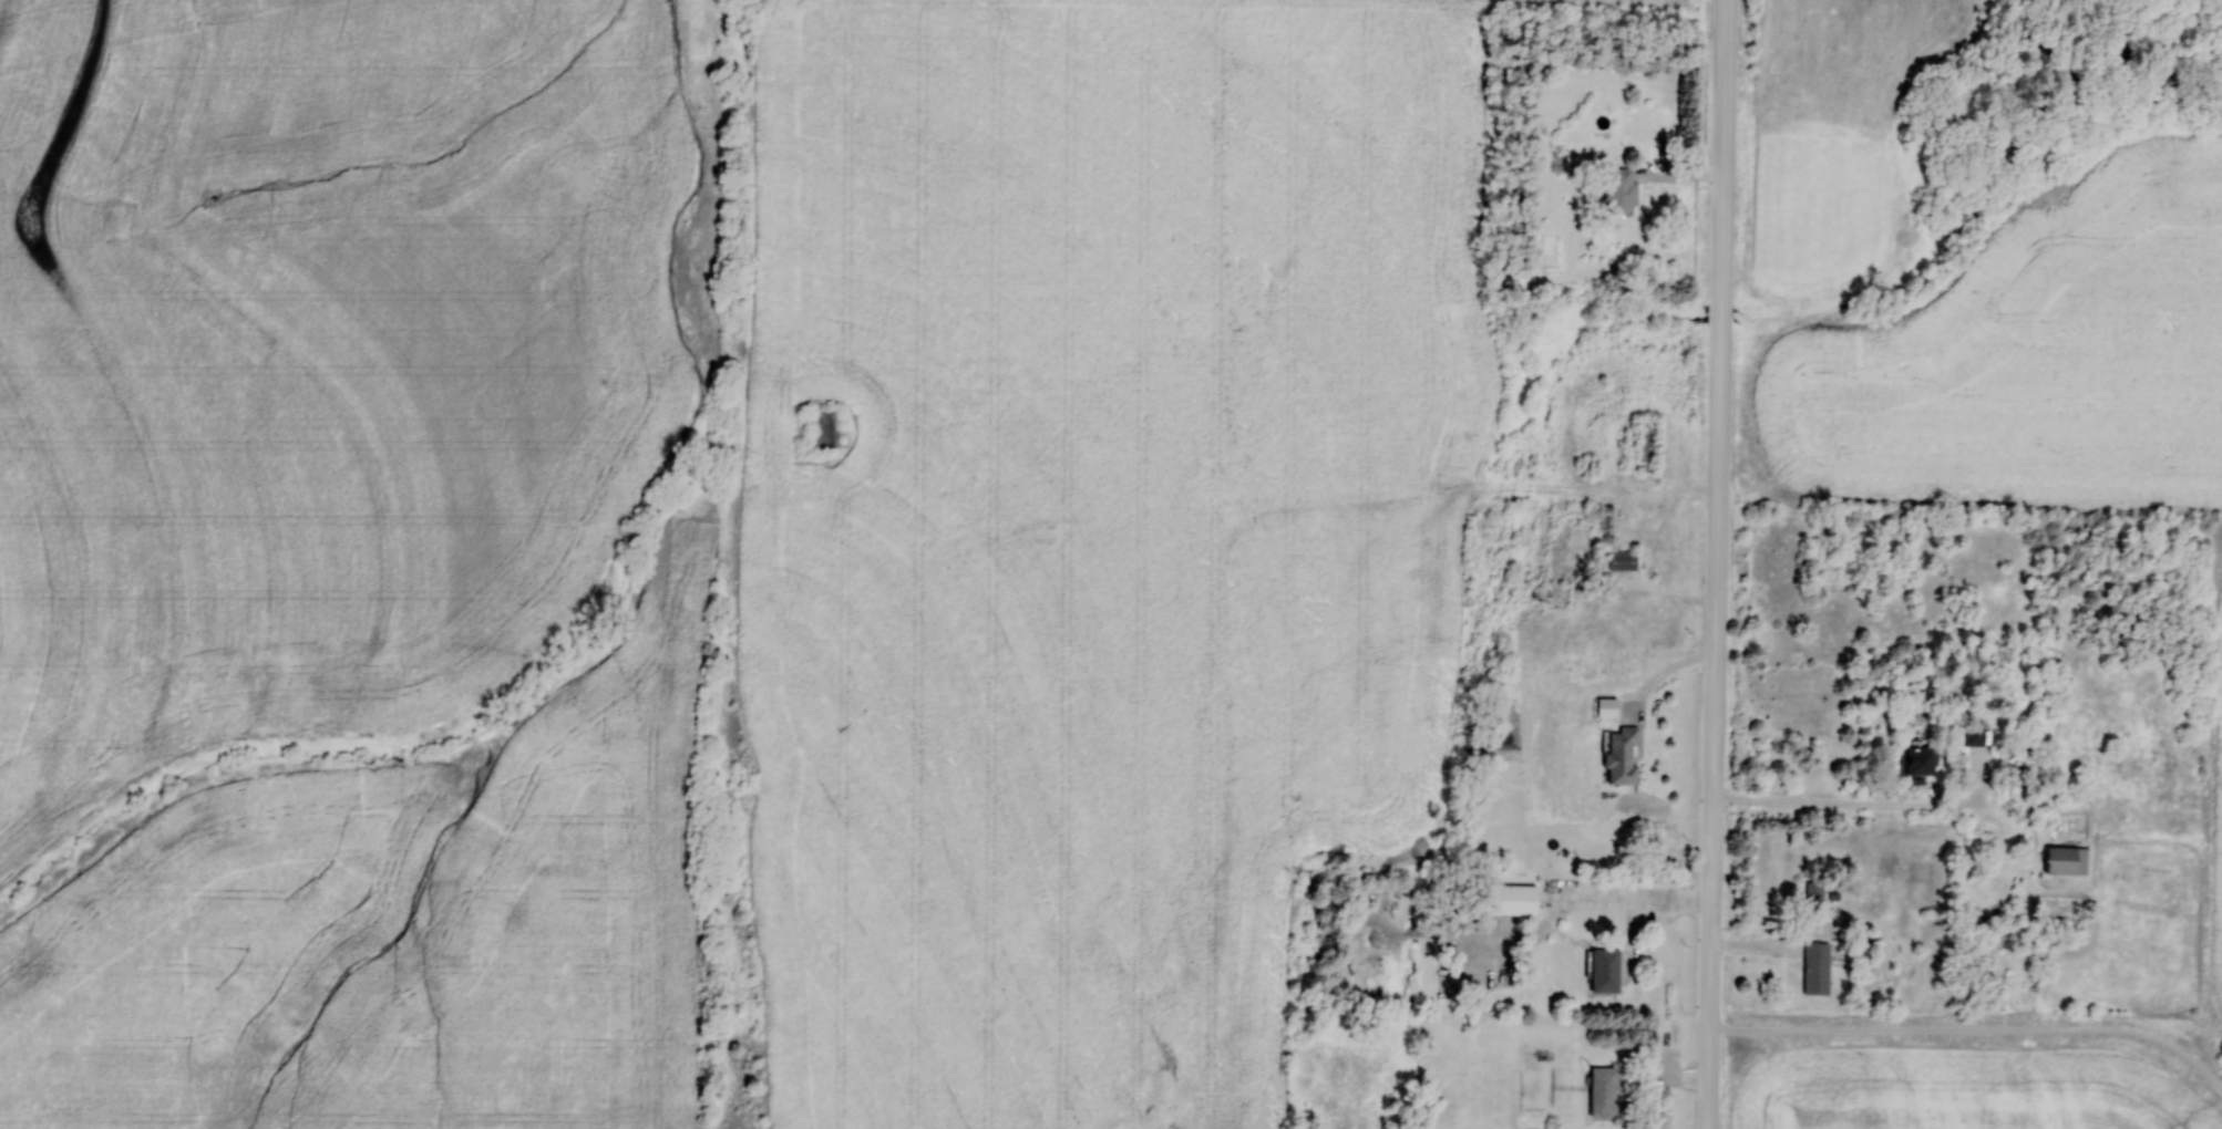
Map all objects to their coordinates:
building: (823, 428)
road: (1718, 563)
building: (1915, 759)
building: (2064, 859)
building: (1813, 891)
building: (1509, 899)
building: (1814, 969)
road: (1974, 1027)

